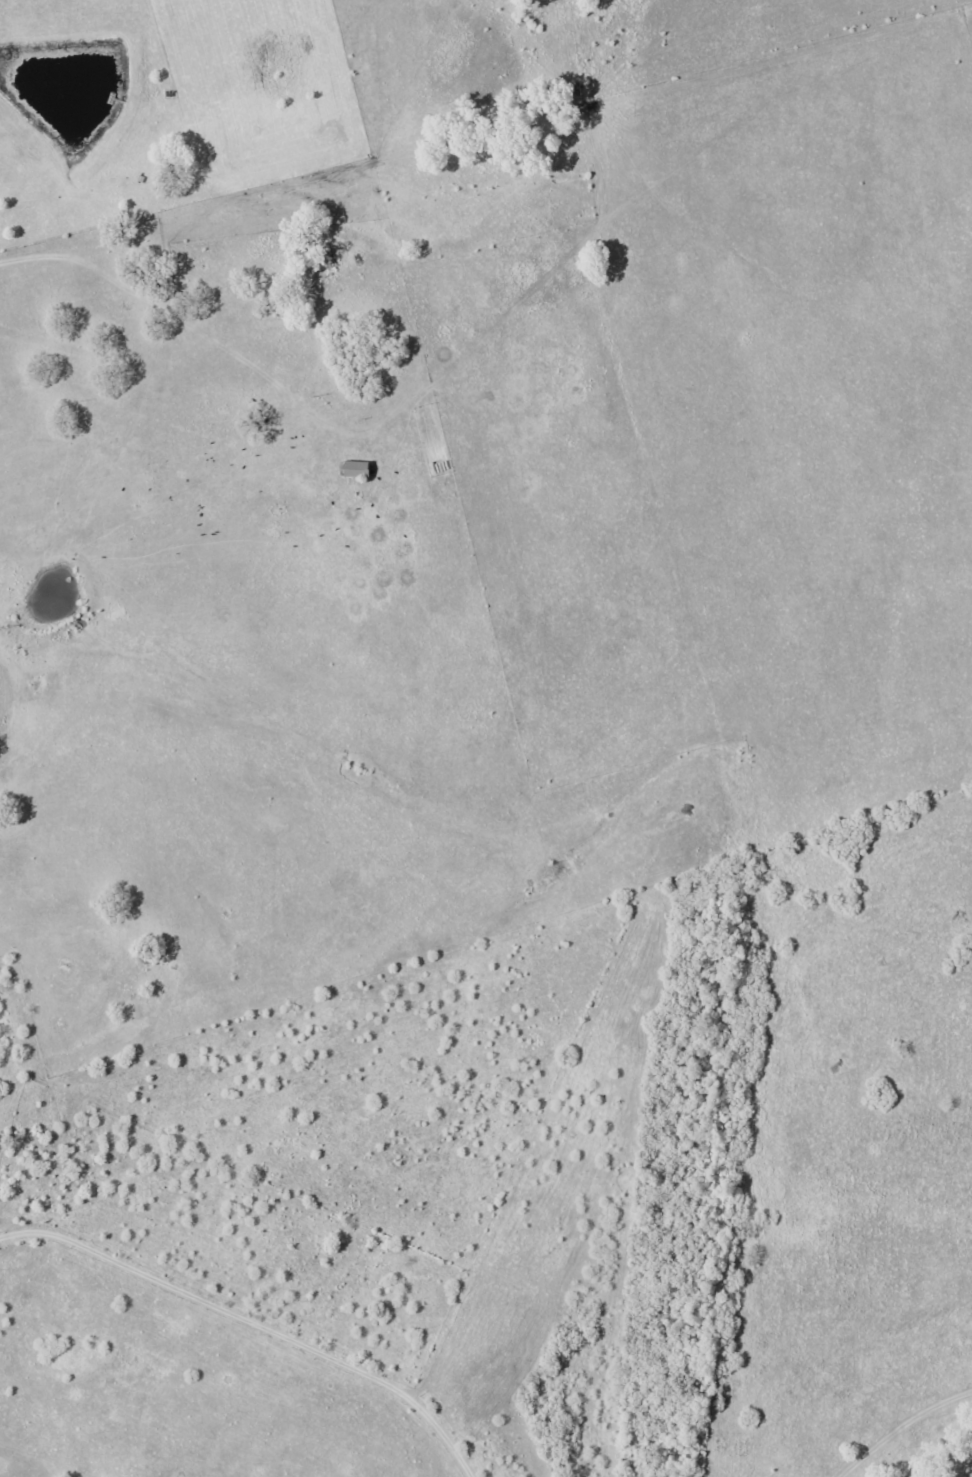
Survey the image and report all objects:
building: (353, 469)

